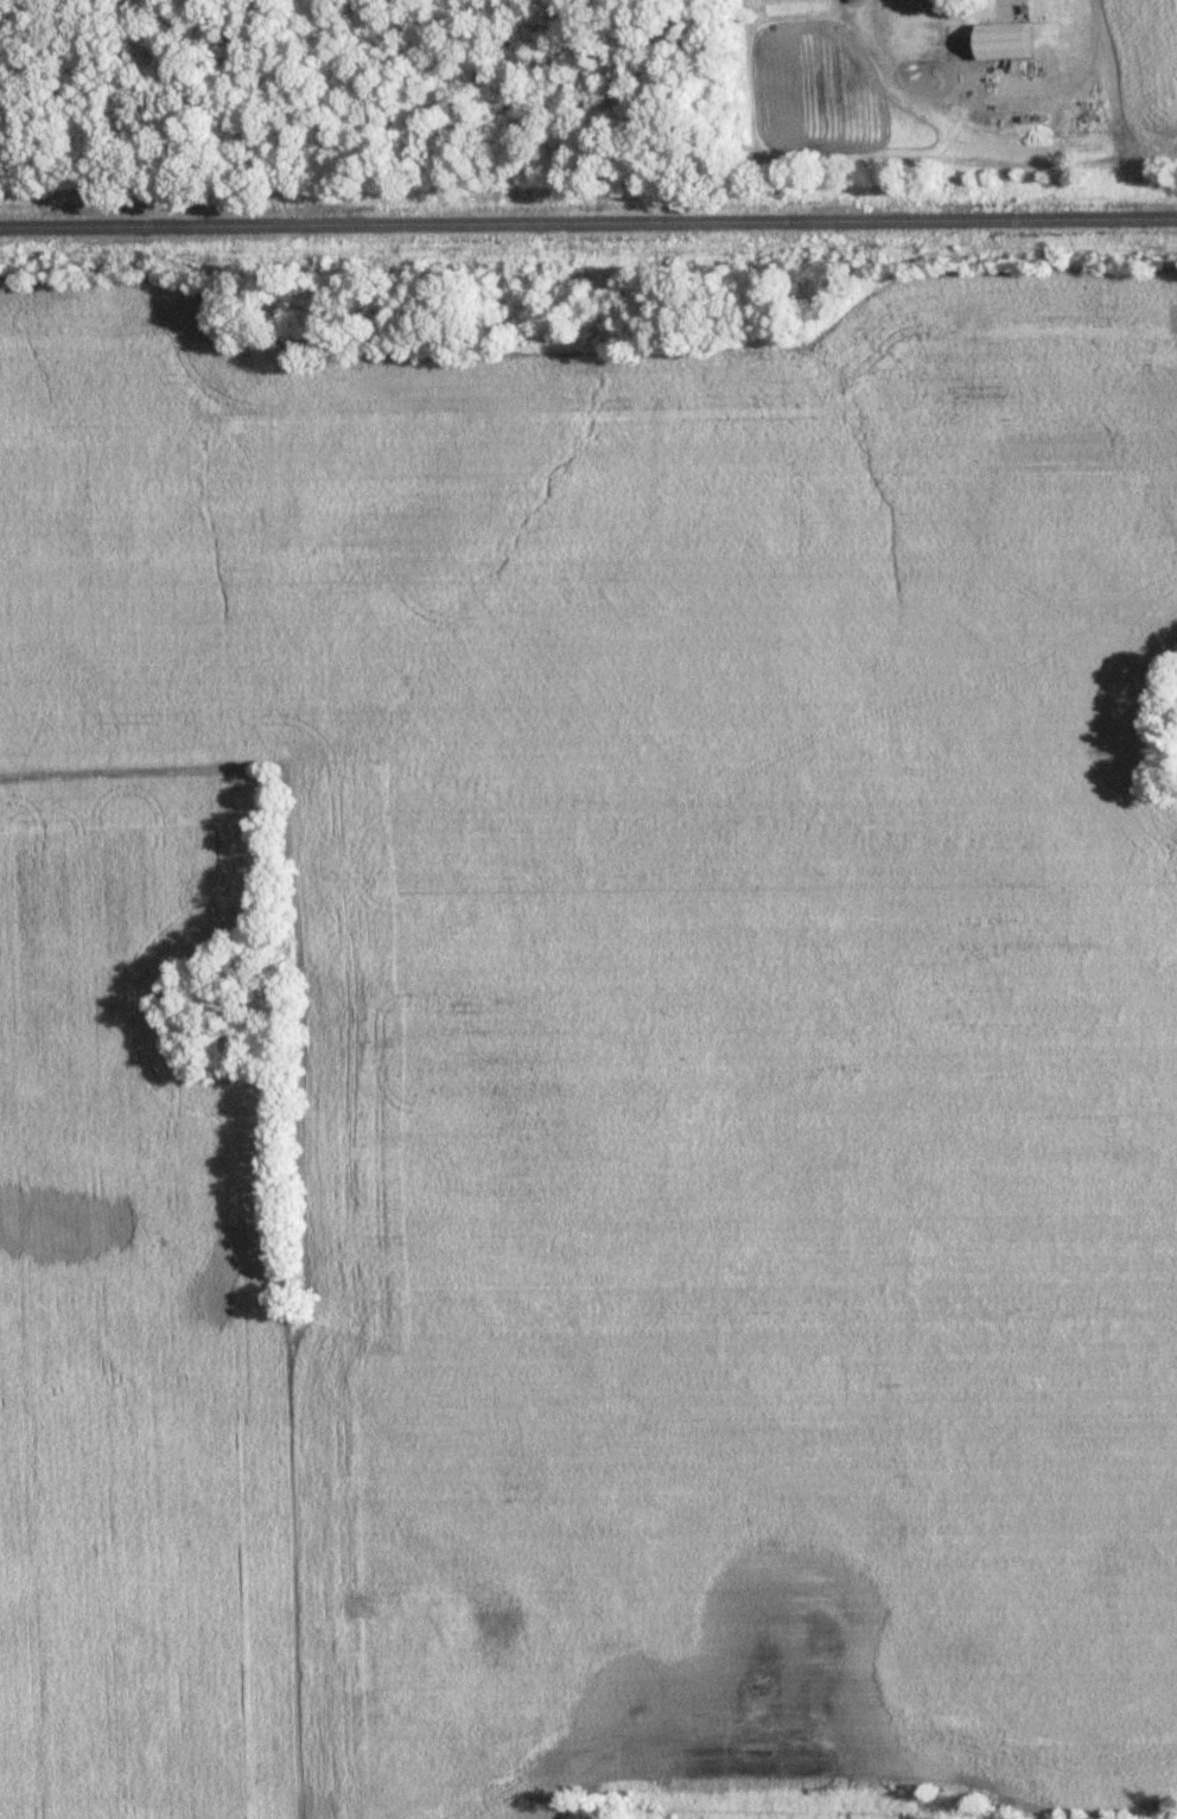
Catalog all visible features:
railway: (588, 224)

